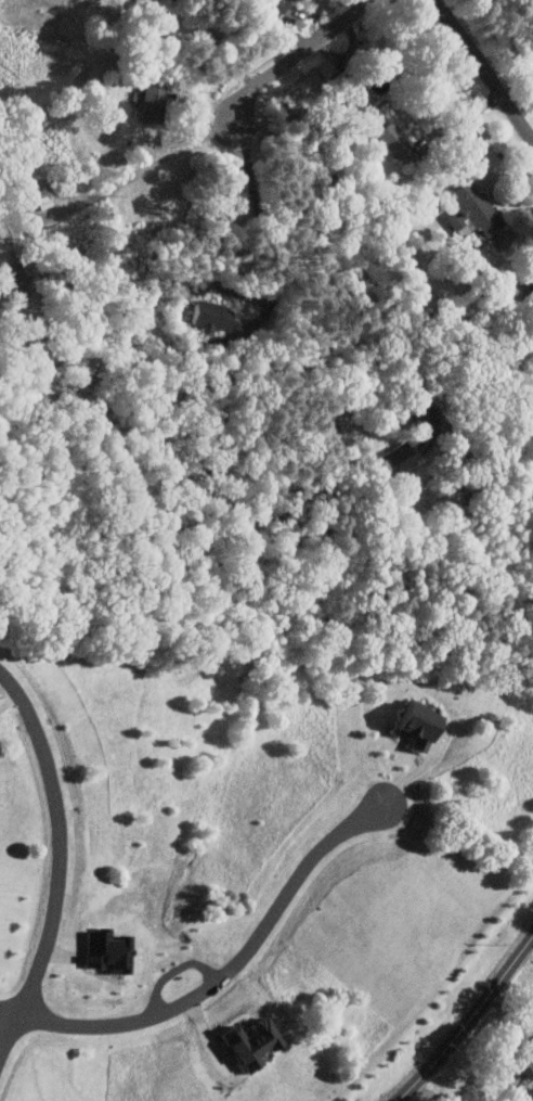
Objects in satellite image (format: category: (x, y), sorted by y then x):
building: (272, 5)
road: (213, 42)
road: (304, 53)
road: (483, 68)
building: (344, 89)
building: (388, 140)
road: (135, 172)
road: (258, 203)
road: (316, 273)
building: (210, 317)
building: (408, 724)
road: (60, 863)
building: (100, 950)
road: (232, 971)
road: (10, 1012)
road: (468, 1020)
road: (524, 1046)
road: (429, 1092)
building: (529, 1097)

